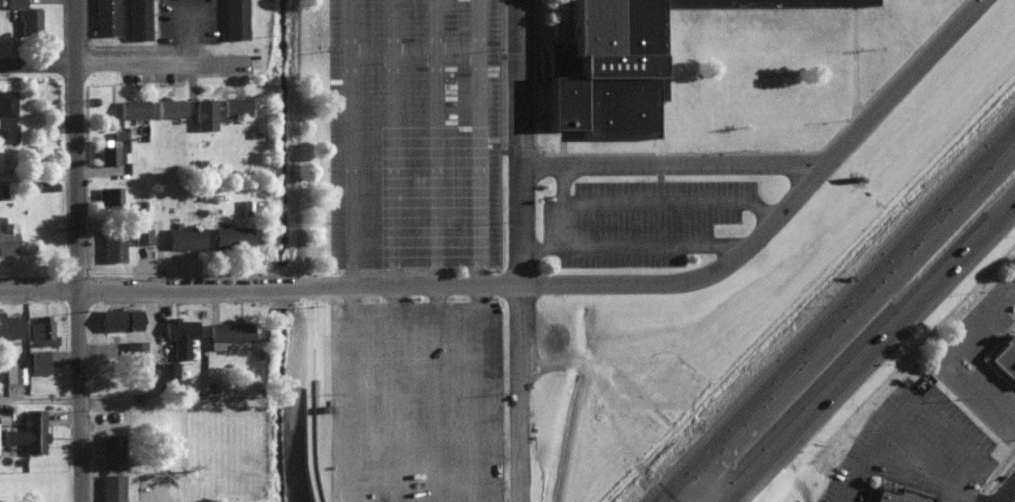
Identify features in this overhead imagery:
building: (14, 3)
building: (105, 17)
building: (28, 18)
building: (136, 19)
building: (235, 19)
road: (947, 37)
road: (197, 39)
building: (625, 64)
road: (130, 68)
building: (235, 105)
building: (132, 107)
building: (169, 107)
building: (204, 112)
building: (7, 114)
parking lot: (424, 134)
road: (488, 134)
building: (106, 150)
road: (677, 157)
road: (572, 173)
road: (37, 178)
building: (1, 189)
road: (669, 196)
building: (109, 197)
road: (774, 204)
road: (573, 209)
parking lot: (649, 212)
building: (142, 234)
building: (7, 235)
building: (231, 235)
building: (184, 236)
road: (573, 236)
road: (645, 239)
road: (550, 241)
road: (735, 241)
building: (112, 244)
road: (362, 250)
road: (447, 250)
road: (75, 251)
road: (403, 251)
road: (530, 251)
road: (490, 275)
road: (651, 281)
road: (154, 286)
road: (490, 293)
road: (837, 312)
building: (120, 317)
parking lot: (984, 319)
building: (9, 324)
building: (41, 329)
building: (227, 331)
building: (179, 333)
road: (869, 345)
building: (134, 347)
road: (964, 351)
building: (1009, 352)
building: (38, 360)
building: (167, 371)
building: (13, 373)
parking lot: (987, 386)
road: (307, 393)
road: (937, 400)
parking lot: (425, 403)
road: (490, 403)
road: (39, 404)
parking lot: (947, 424)
building: (28, 430)
road: (929, 447)
building: (111, 448)
parking lot: (889, 458)
road: (860, 482)
building: (111, 487)
road: (980, 487)
road: (956, 489)
road: (1005, 489)
building: (905, 493)
road: (164, 495)
parking lot: (849, 499)
parking lot: (959, 500)

